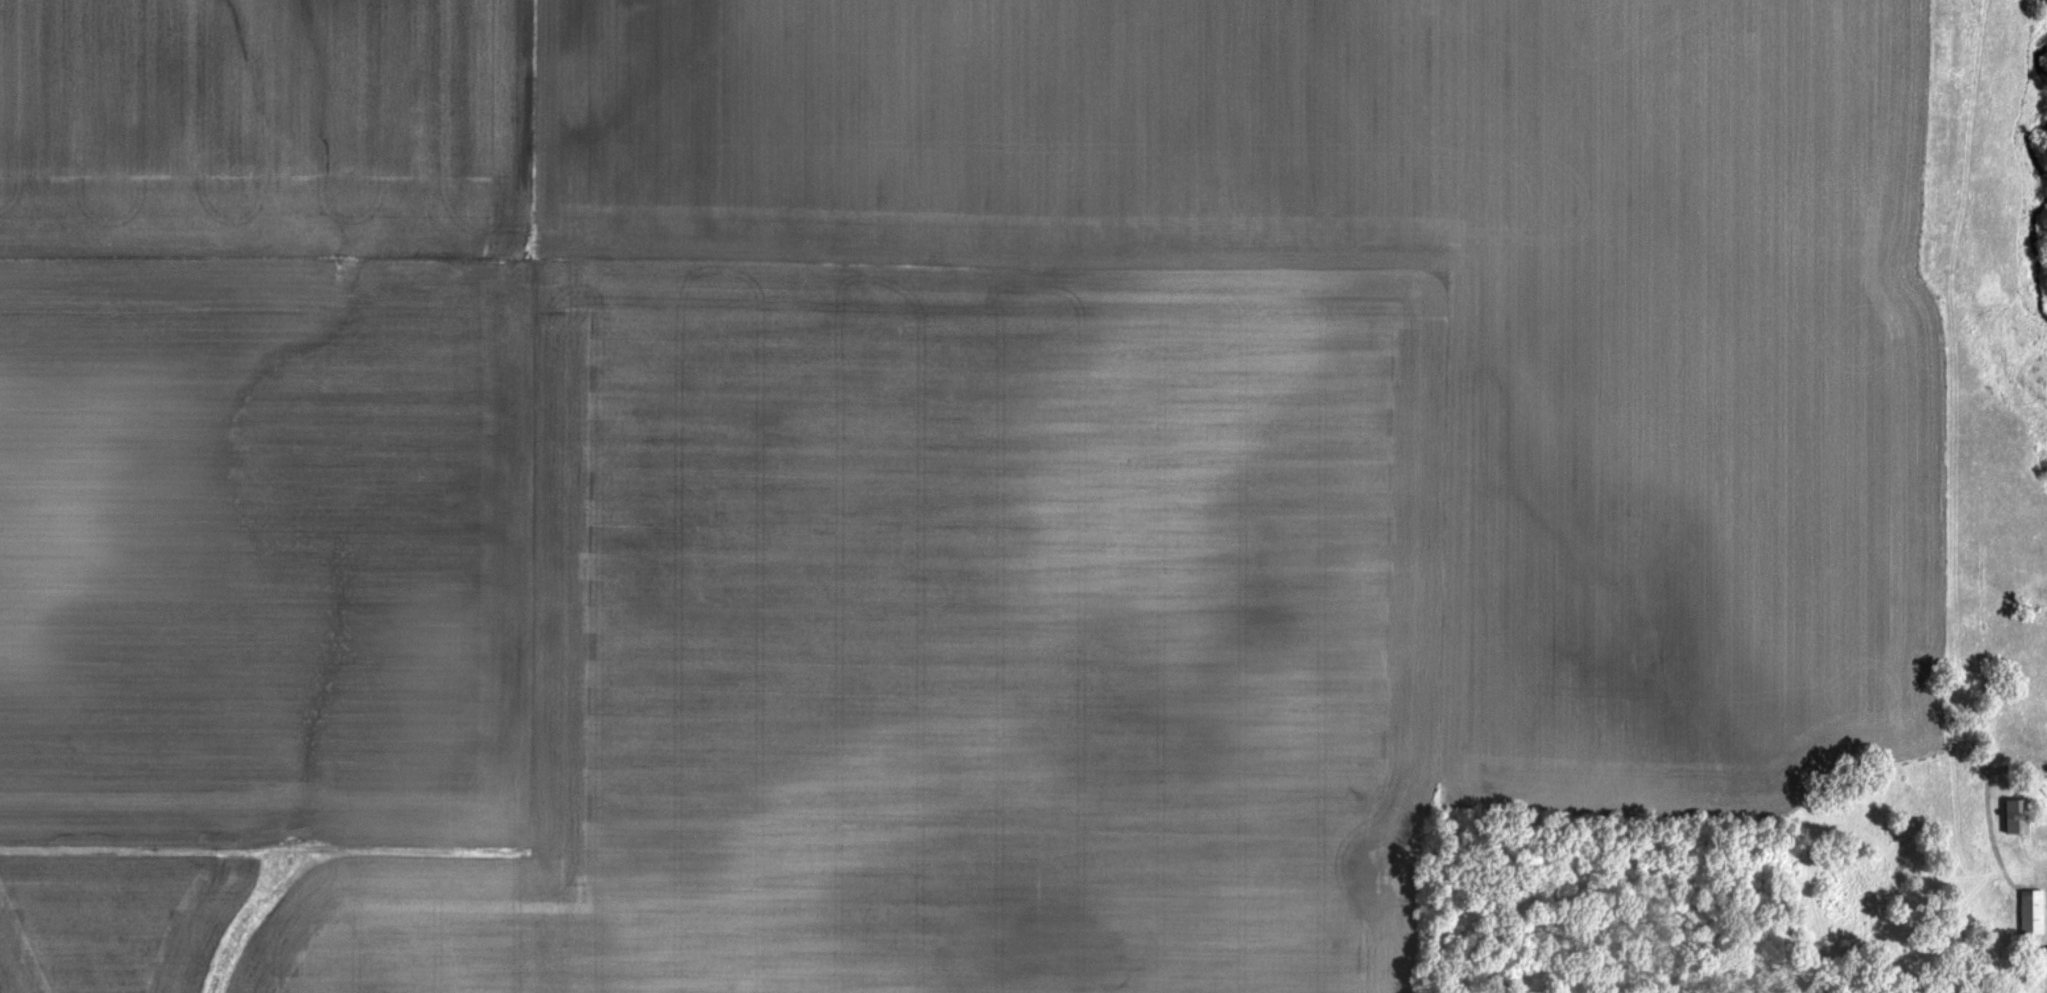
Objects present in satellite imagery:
building: (2015, 818)
building: (2031, 914)

